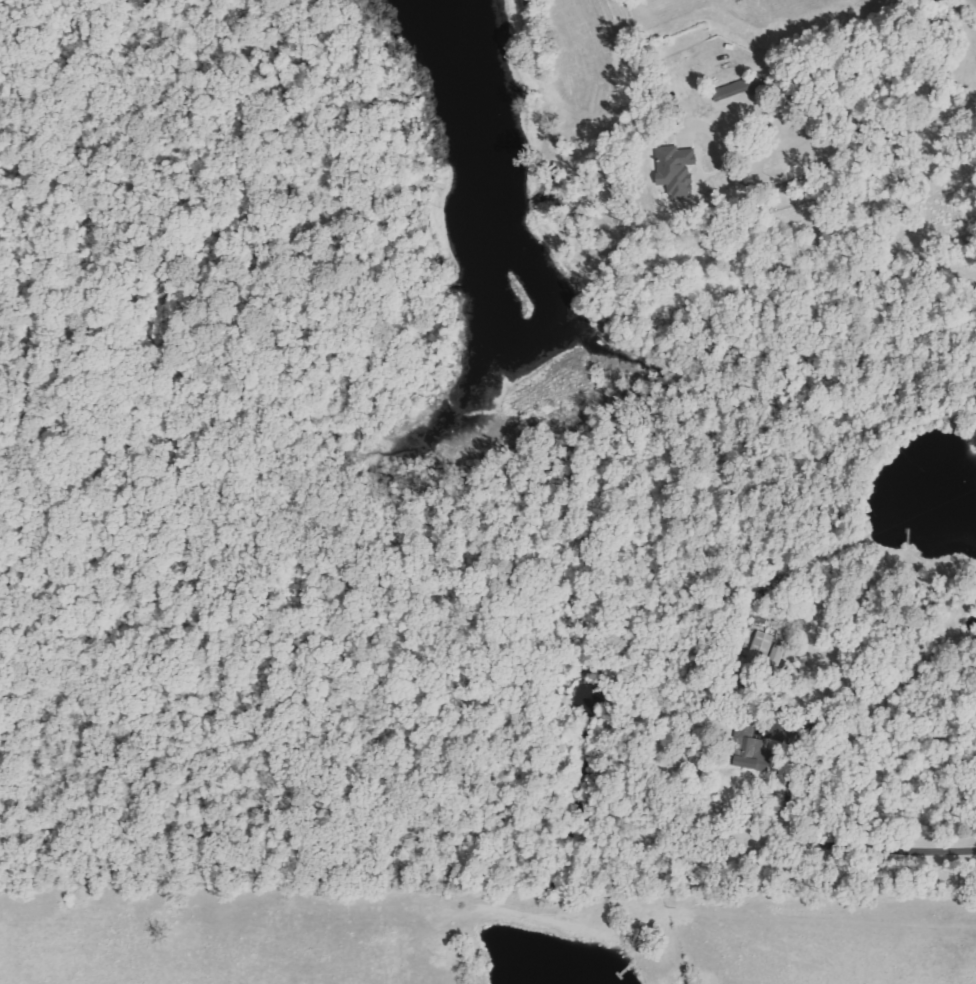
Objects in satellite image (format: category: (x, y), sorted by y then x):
building: (735, 88)
building: (678, 170)
road: (789, 295)
building: (762, 647)
building: (752, 749)
road: (849, 977)

